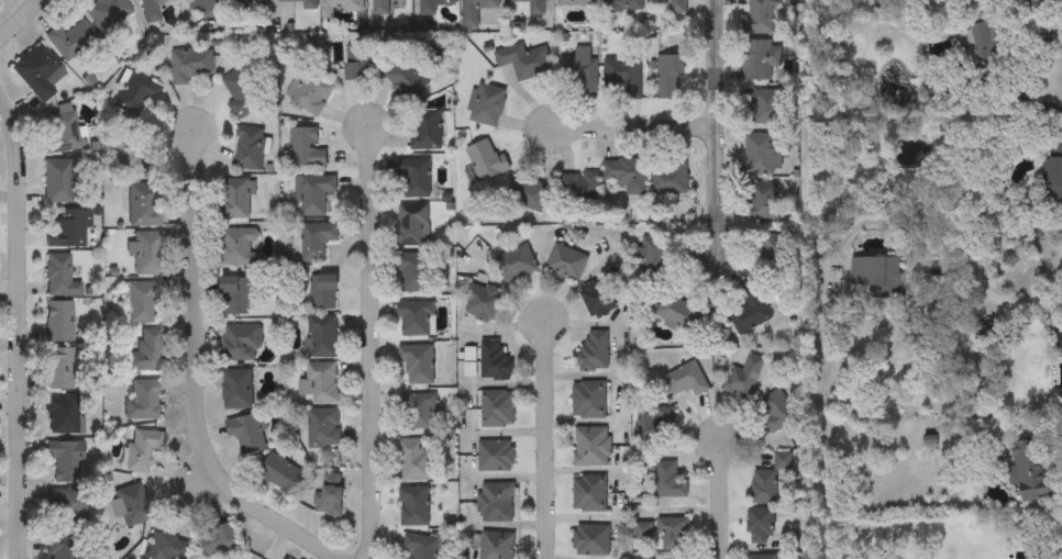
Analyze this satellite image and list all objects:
building: (1040, 1)
building: (576, 2)
building: (301, 3)
building: (247, 4)
building: (622, 4)
building: (342, 5)
building: (431, 5)
building: (533, 5)
building: (672, 5)
building: (380, 7)
building: (201, 9)
building: (152, 10)
building: (475, 11)
building: (107, 12)
building: (759, 16)
road: (20, 21)
building: (70, 40)
building: (985, 54)
building: (759, 58)
building: (357, 62)
building: (524, 62)
building: (190, 64)
building: (36, 70)
building: (580, 74)
building: (623, 76)
building: (671, 76)
road: (1028, 77)
building: (405, 78)
building: (309, 91)
building: (241, 93)
building: (132, 96)
building: (486, 103)
building: (763, 107)
building: (427, 128)
road: (632, 128)
road: (716, 128)
building: (62, 133)
building: (305, 147)
building: (250, 148)
building: (126, 154)
building: (761, 154)
building: (485, 158)
building: (1053, 171)
building: (624, 175)
building: (413, 176)
building: (670, 176)
building: (57, 180)
building: (578, 185)
building: (313, 193)
building: (528, 194)
building: (237, 198)
building: (765, 201)
building: (145, 204)
building: (412, 224)
building: (67, 228)
road: (918, 228)
building: (316, 241)
building: (239, 246)
building: (146, 251)
building: (654, 257)
building: (775, 257)
building: (566, 261)
building: (516, 264)
building: (413, 272)
building: (878, 275)
building: (59, 277)
building: (320, 291)
building: (234, 294)
building: (601, 297)
building: (143, 301)
building: (483, 302)
road: (1016, 302)
building: (677, 312)
building: (750, 312)
building: (416, 318)
building: (59, 321)
road: (19, 326)
building: (986, 332)
building: (322, 336)
building: (241, 342)
road: (374, 342)
building: (594, 350)
building: (146, 353)
building: (495, 360)
building: (418, 364)
building: (59, 368)
road: (195, 374)
building: (745, 376)
building: (686, 379)
building: (320, 382)
building: (236, 389)
building: (588, 399)
building: (143, 401)
building: (498, 407)
building: (777, 410)
building: (418, 411)
building: (64, 415)
building: (653, 421)
building: (323, 426)
building: (246, 433)
road: (547, 438)
building: (591, 447)
building: (142, 449)
building: (496, 456)
road: (1061, 457)
building: (414, 459)
building: (64, 461)
building: (1028, 472)
building: (280, 473)
building: (770, 479)
building: (670, 480)
building: (589, 492)
building: (330, 493)
road: (719, 500)
building: (496, 501)
building: (131, 505)
building: (413, 505)
building: (65, 508)
building: (759, 525)
building: (673, 532)
building: (591, 538)
building: (218, 540)
building: (496, 545)
building: (420, 546)
building: (63, 547)
building: (166, 547)
building: (761, 557)
building: (286, 558)

